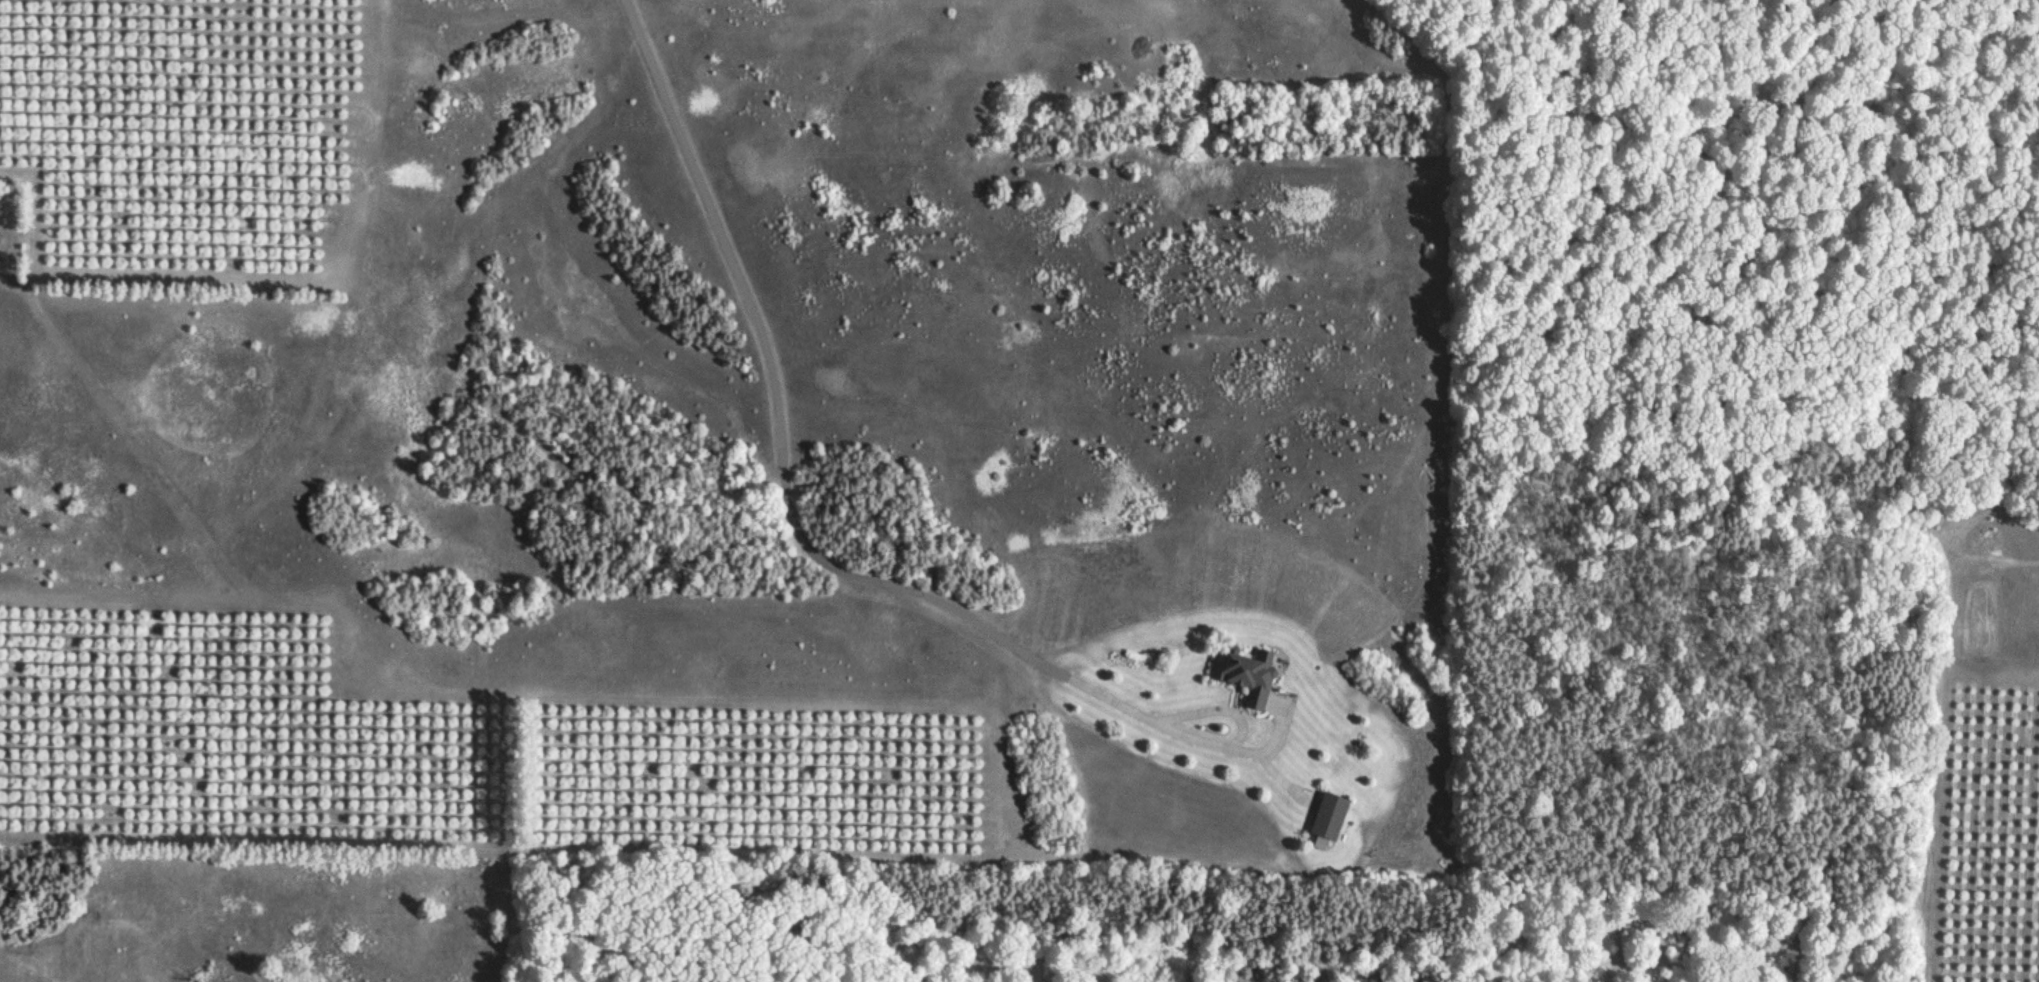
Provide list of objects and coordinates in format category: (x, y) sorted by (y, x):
building: (1242, 679)
building: (1326, 818)

